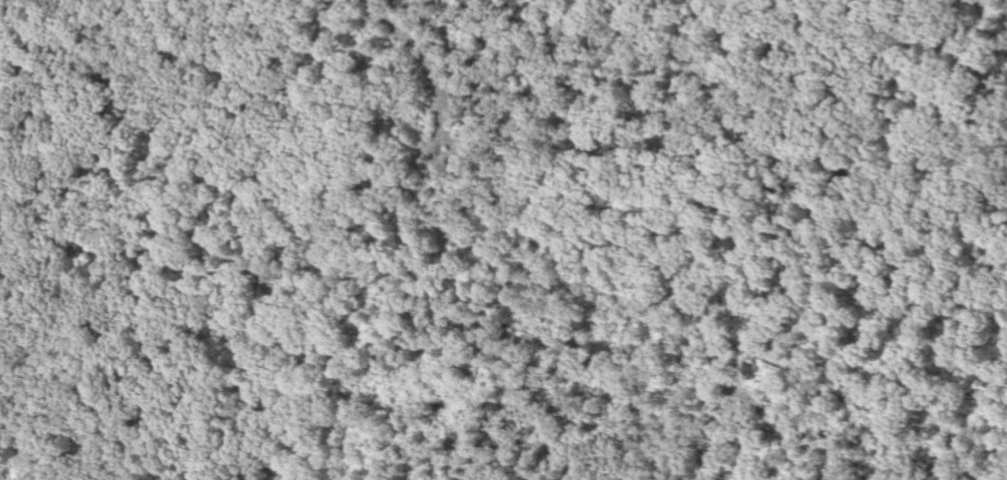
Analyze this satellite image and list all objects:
road: (15, 5)

